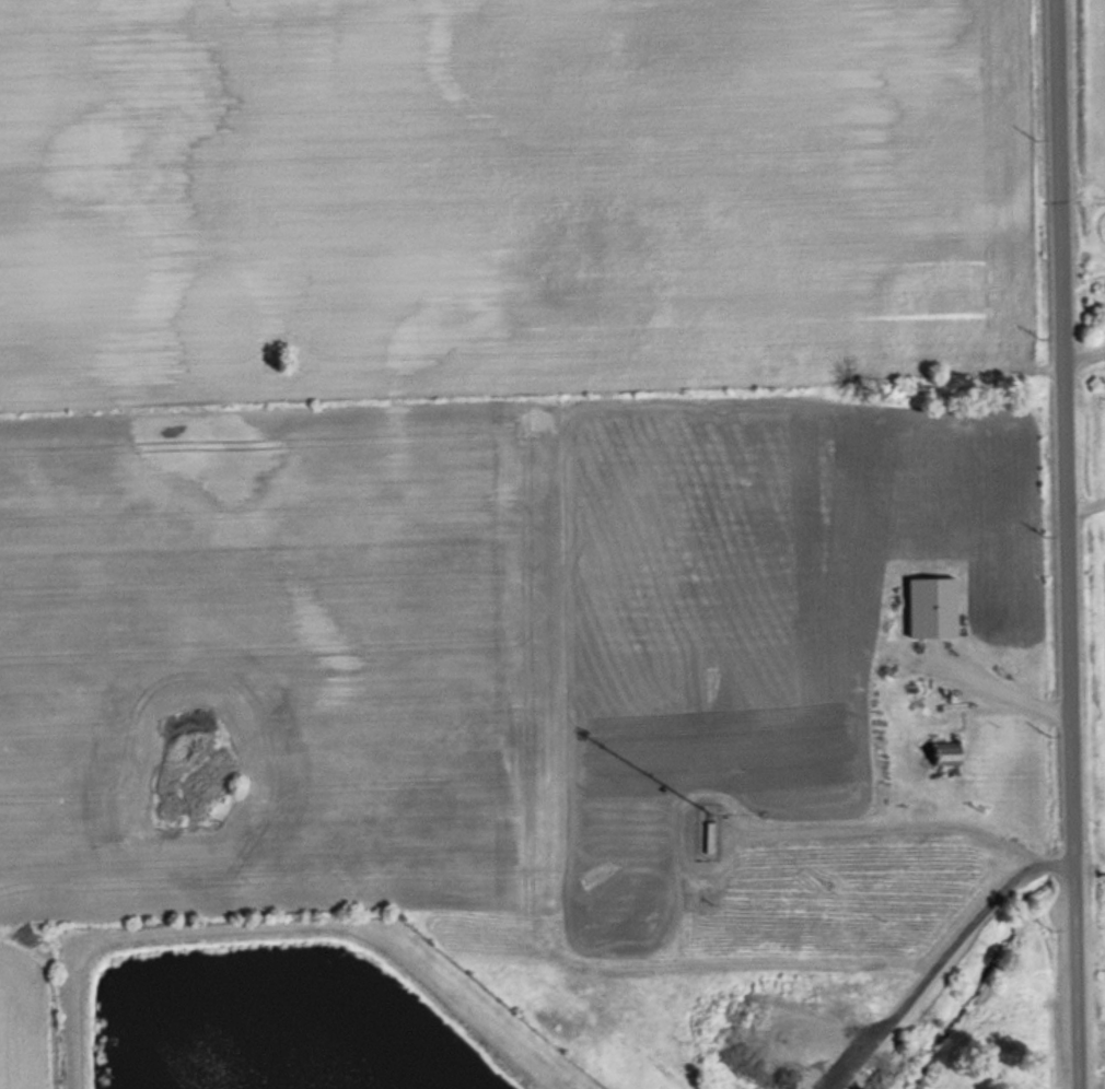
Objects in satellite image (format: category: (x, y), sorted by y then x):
road: (1066, 543)
building: (931, 607)
building: (945, 752)

